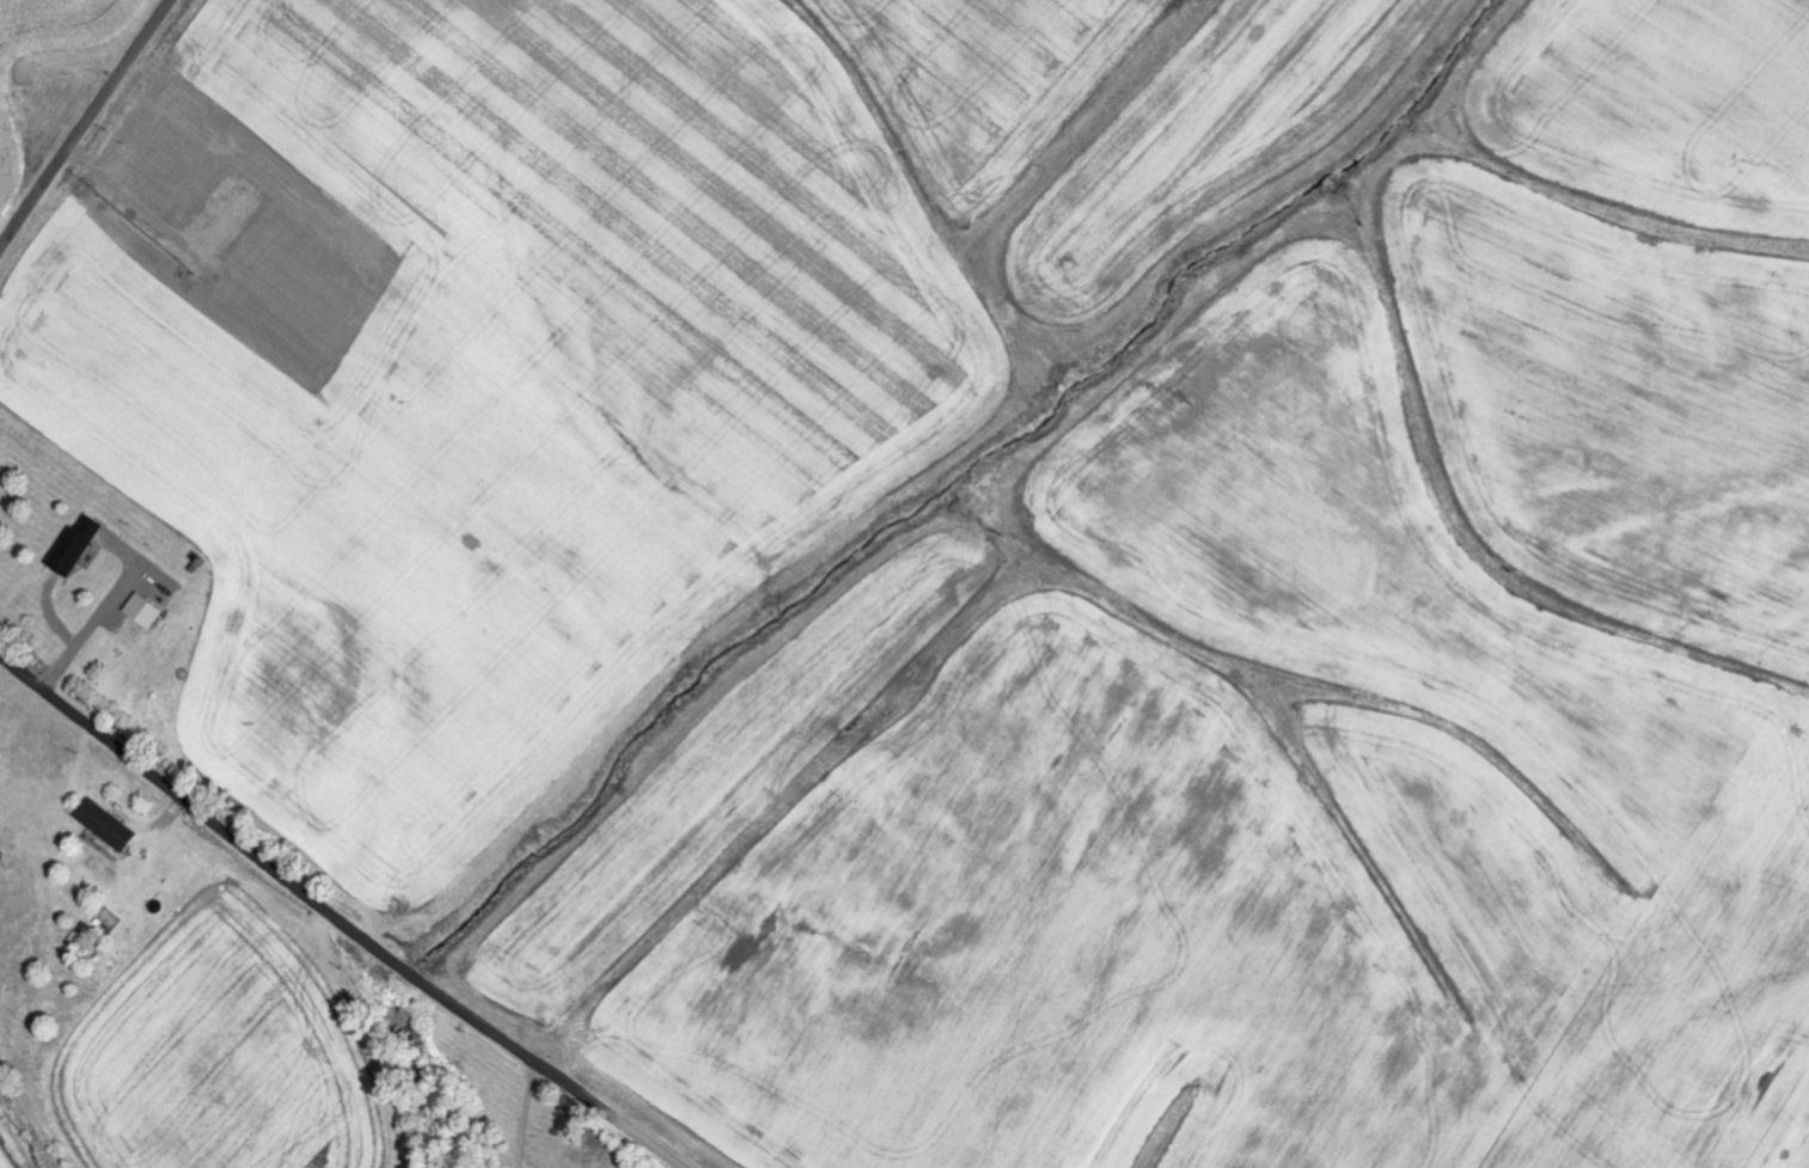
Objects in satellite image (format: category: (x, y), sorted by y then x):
road: (84, 122)
building: (75, 548)
building: (145, 612)
road: (99, 617)
building: (108, 824)
road: (334, 918)
road: (527, 1115)

